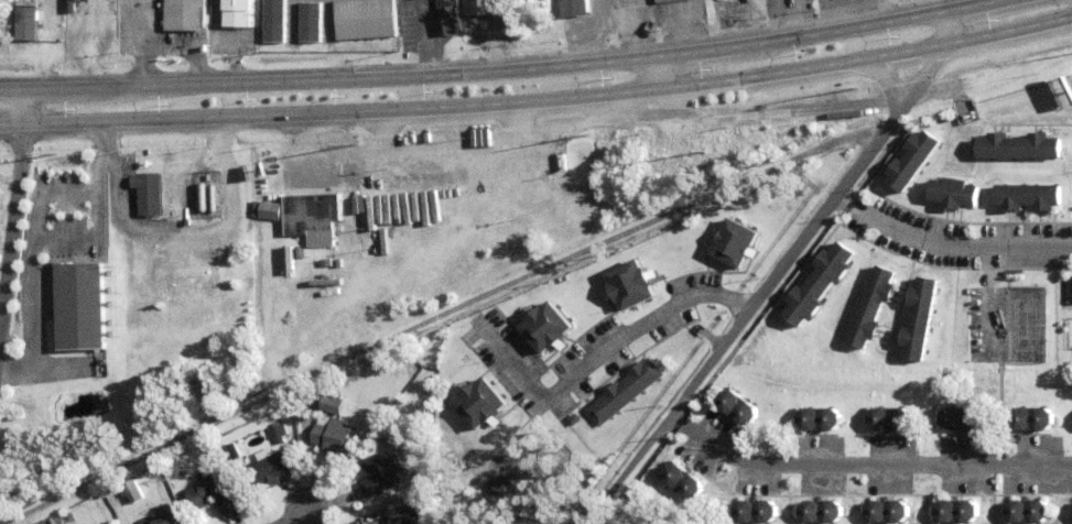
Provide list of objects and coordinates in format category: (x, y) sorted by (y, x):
building: (674, 2)
building: (635, 6)
building: (479, 7)
building: (606, 7)
building: (445, 8)
building: (576, 10)
building: (237, 12)
building: (182, 14)
building: (362, 19)
building: (272, 21)
building: (308, 22)
building: (24, 24)
road: (495, 70)
road: (889, 78)
road: (538, 99)
road: (23, 107)
road: (634, 113)
road: (759, 116)
building: (971, 119)
building: (1019, 148)
building: (912, 161)
building: (523, 165)
building: (446, 168)
building: (502, 178)
building: (208, 181)
building: (86, 189)
building: (147, 192)
building: (953, 194)
building: (1028, 198)
building: (266, 208)
building: (307, 212)
road: (896, 229)
building: (735, 242)
road: (11, 245)
building: (345, 247)
road: (1015, 254)
building: (112, 256)
building: (286, 259)
road: (783, 270)
building: (630, 282)
building: (819, 282)
building: (1070, 291)
building: (873, 306)
building: (76, 307)
road: (438, 318)
building: (920, 318)
building: (548, 324)
park: (1027, 327)
road: (605, 354)
building: (347, 387)
building: (626, 390)
building: (483, 400)
building: (738, 404)
building: (328, 405)
building: (821, 416)
building: (891, 416)
building: (962, 416)
building: (1033, 416)
building: (404, 419)
building: (280, 432)
building: (335, 437)
road: (865, 468)
building: (264, 471)
building: (382, 473)
building: (684, 479)
building: (501, 487)
building: (132, 490)
building: (213, 493)
building: (757, 509)
building: (822, 509)
building: (889, 509)
building: (957, 509)
building: (1028, 509)
building: (405, 516)
building: (164, 518)

